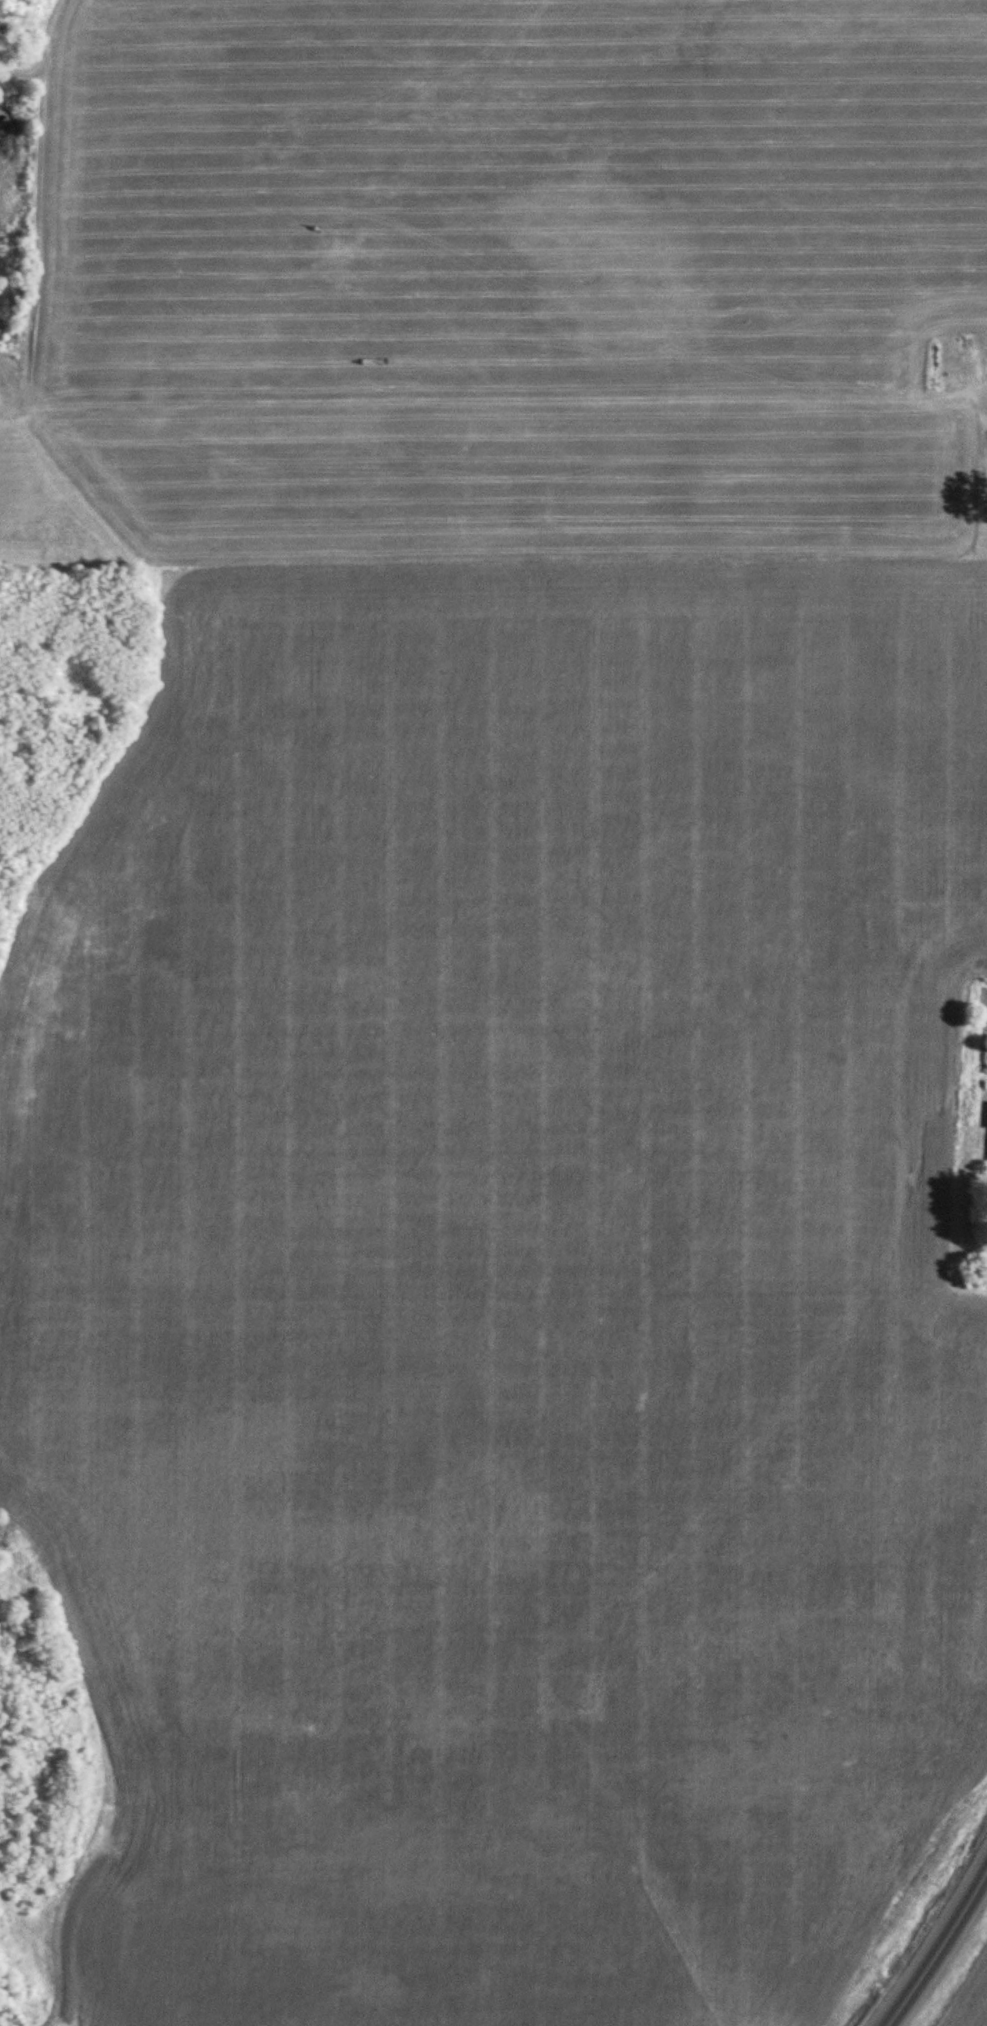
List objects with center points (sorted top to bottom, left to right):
road: (941, 1950)

